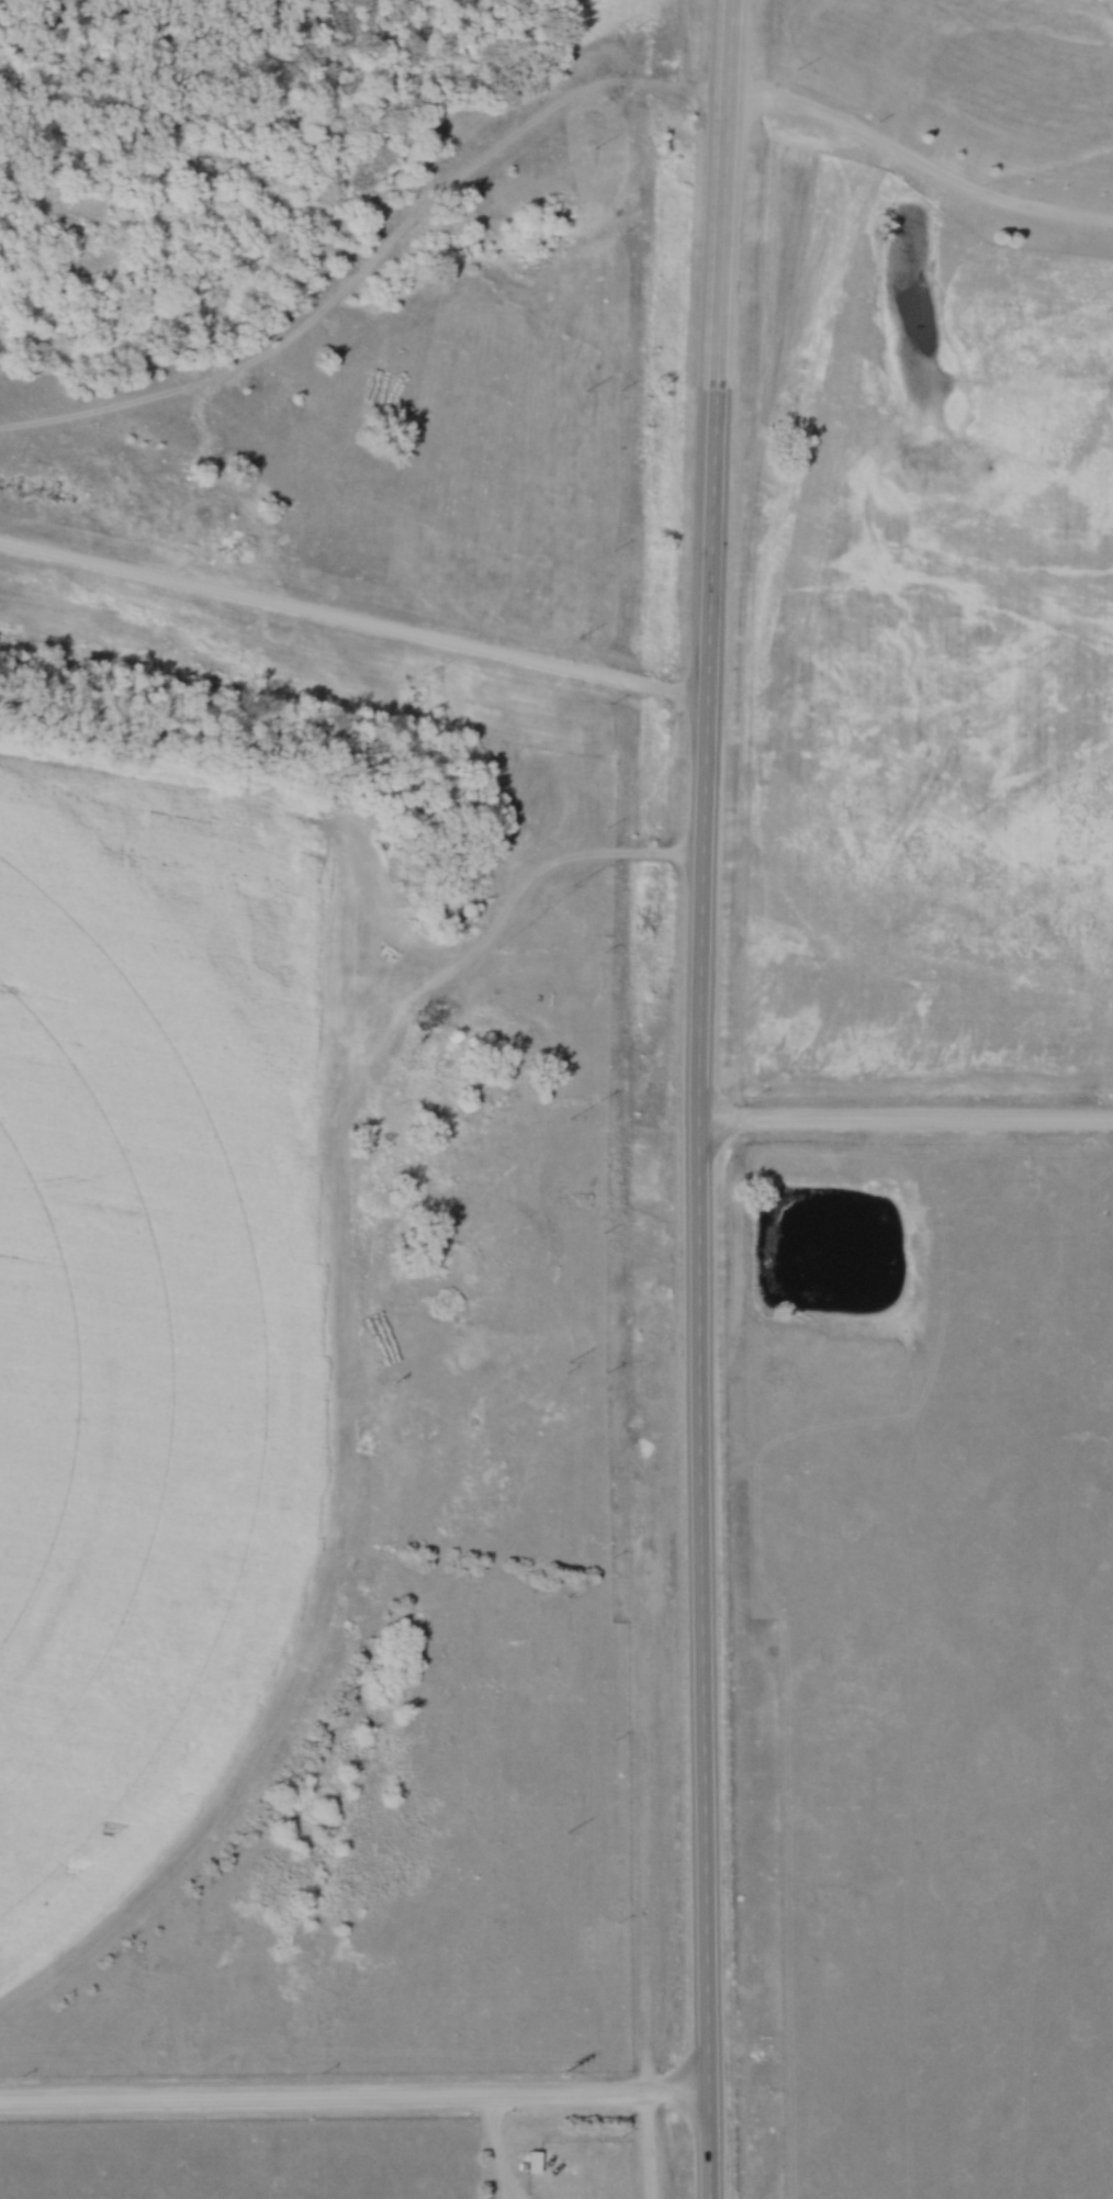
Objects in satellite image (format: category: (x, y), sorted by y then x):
road: (914, 169)
road: (352, 621)
road: (693, 1099)
road: (902, 1124)
road: (638, 1888)
road: (351, 2103)
road: (491, 2150)
building: (531, 2163)

